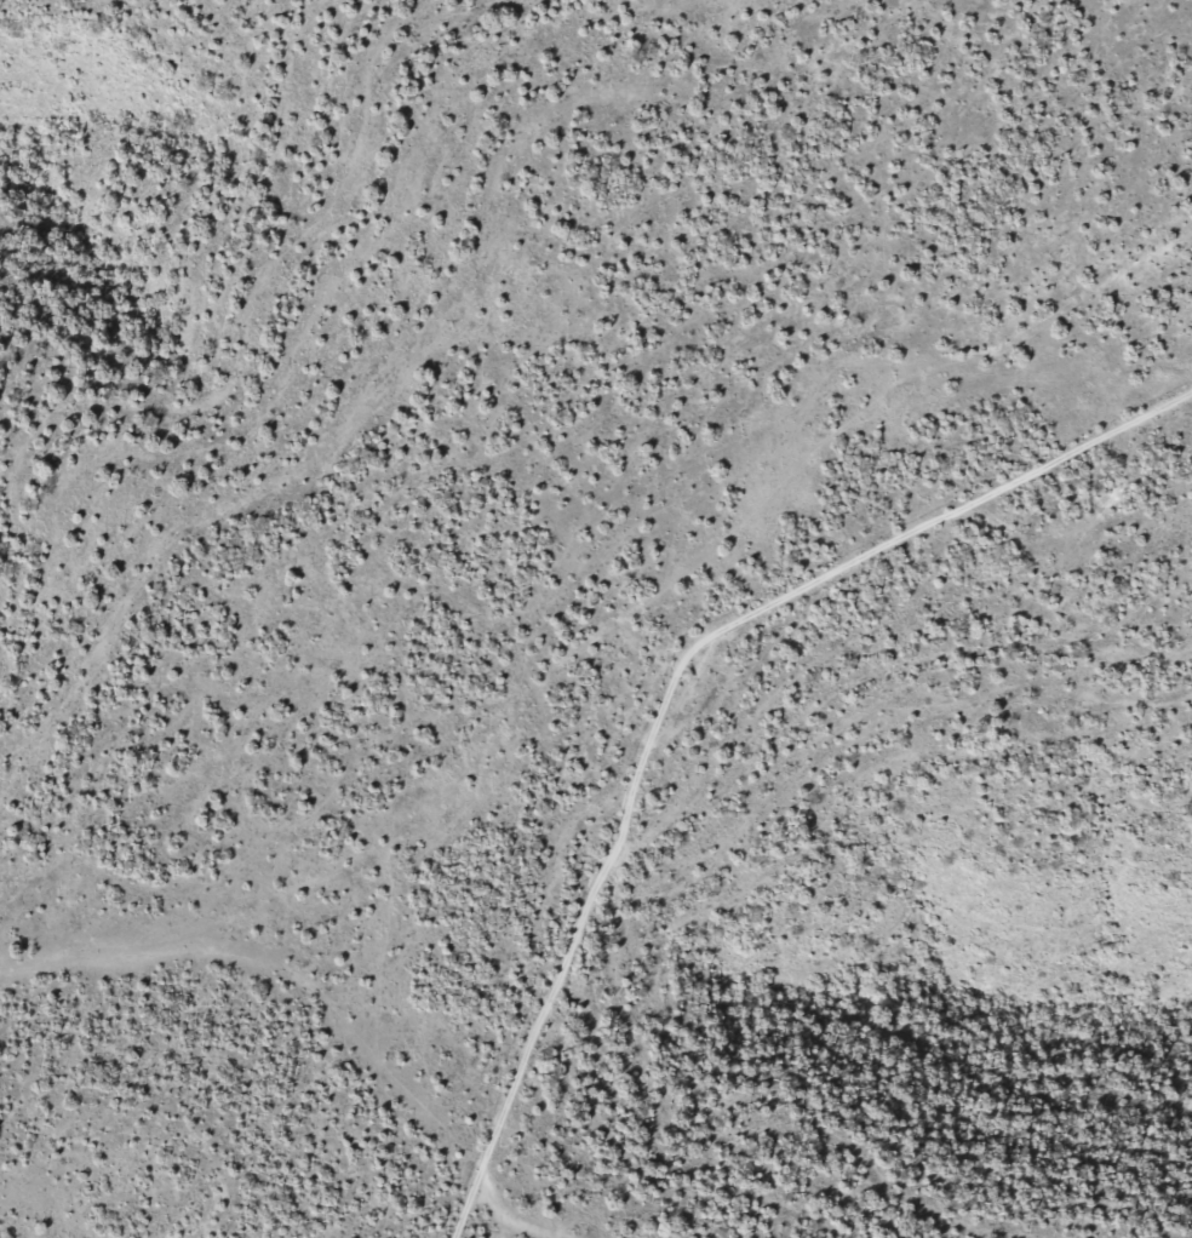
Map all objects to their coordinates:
road: (606, 634)

